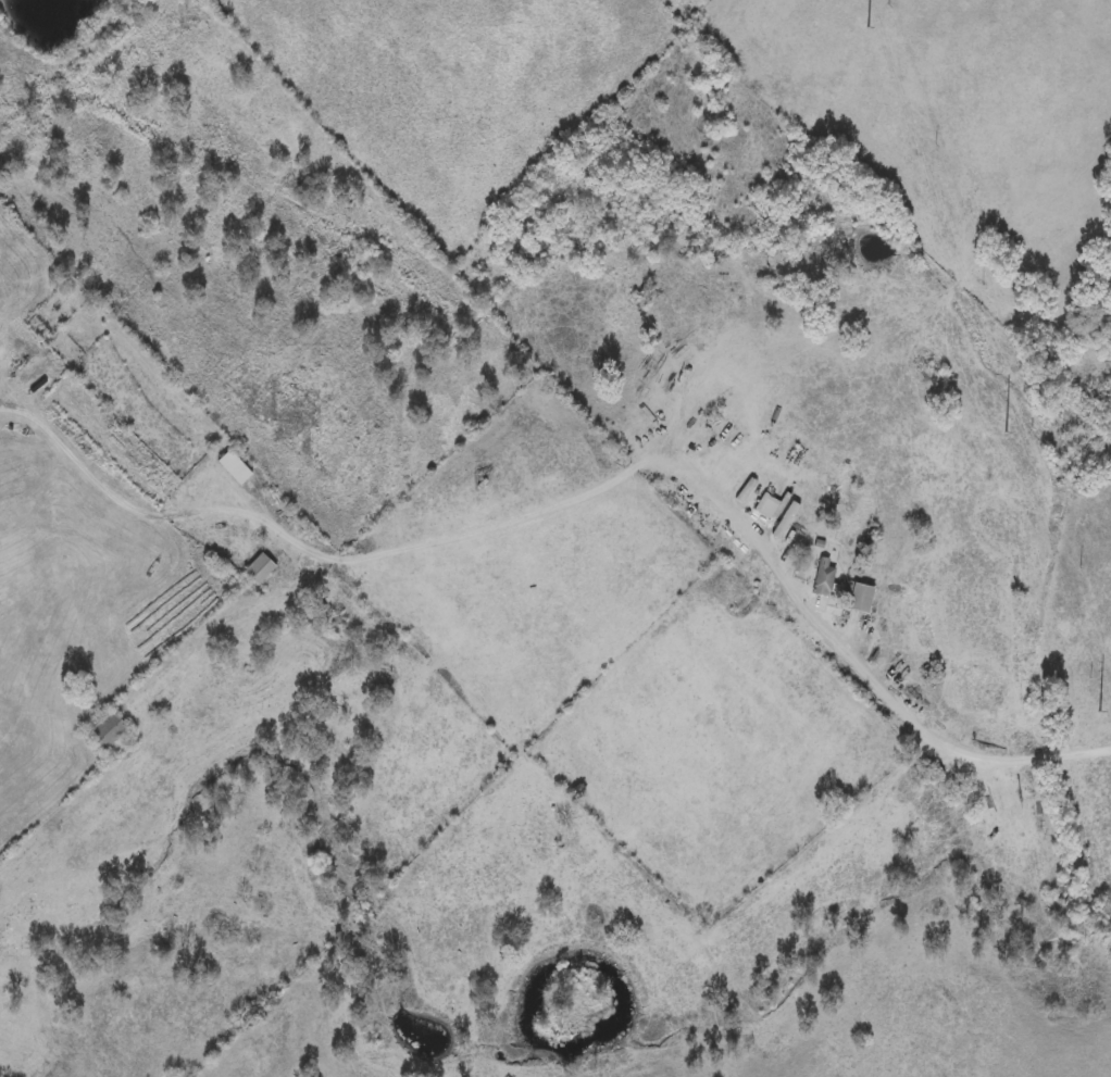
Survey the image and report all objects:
building: (36, 361)
road: (4, 378)
building: (232, 463)
building: (765, 501)
road: (367, 550)
building: (258, 565)
building: (822, 574)
building: (858, 593)
road: (903, 723)
building: (103, 724)

